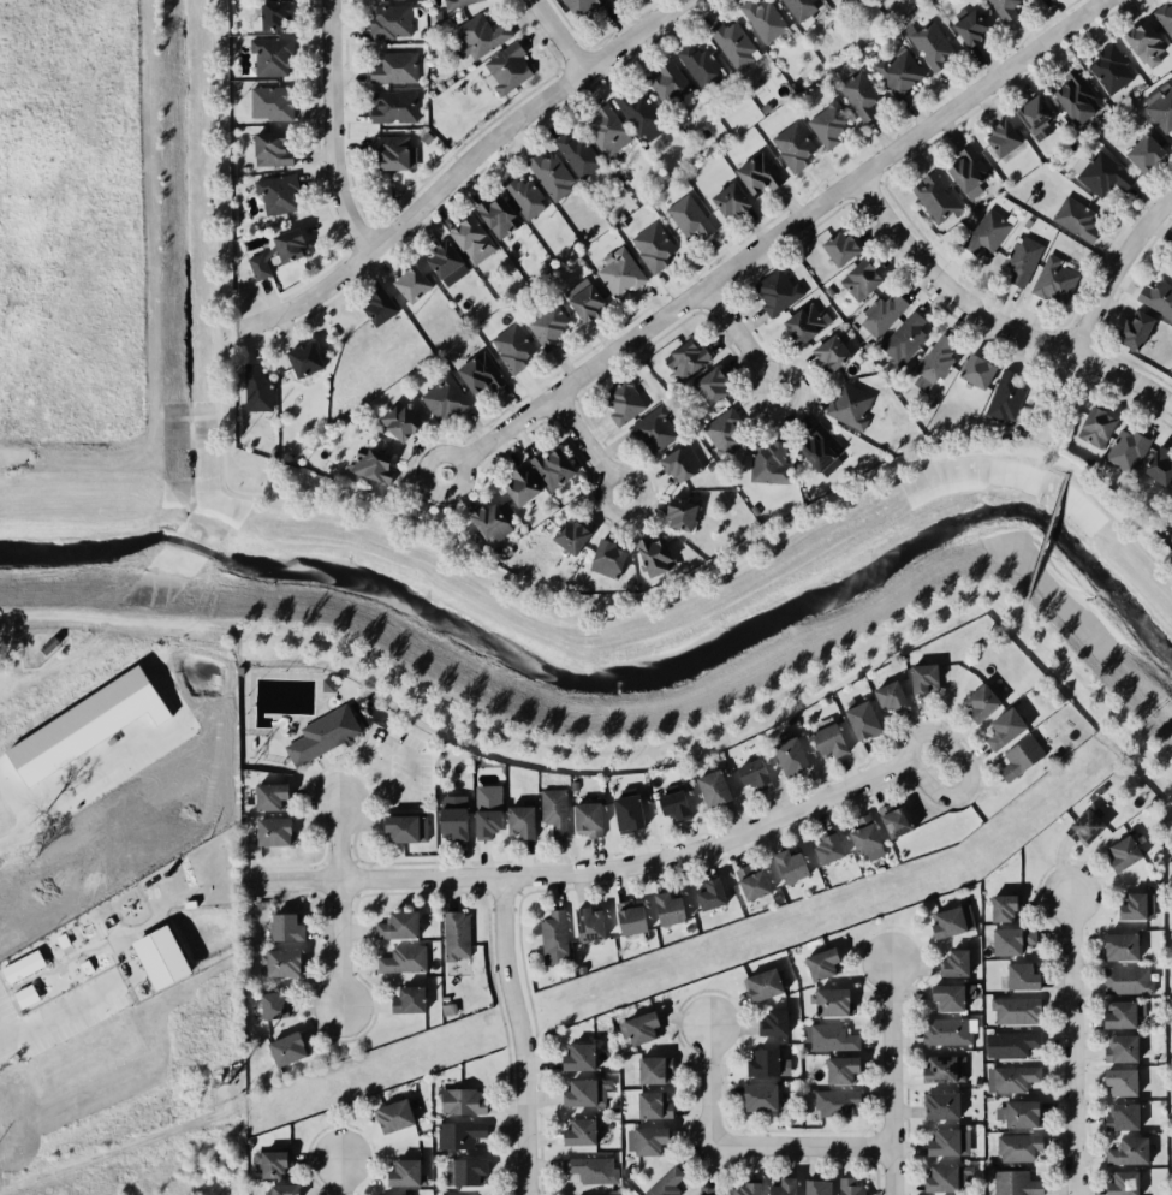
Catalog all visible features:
building: (1034, 0)
building: (457, 4)
building: (579, 6)
building: (801, 7)
building: (1001, 8)
building: (268, 13)
building: (1164, 18)
building: (762, 20)
building: (391, 23)
building: (965, 26)
building: (476, 35)
road: (561, 35)
building: (726, 40)
building: (1140, 41)
building: (928, 42)
building: (267, 57)
building: (696, 63)
building: (394, 67)
building: (505, 70)
building: (896, 71)
building: (1111, 71)
building: (665, 82)
building: (856, 94)
building: (1075, 97)
building: (267, 102)
building: (392, 109)
building: (1028, 111)
building: (1160, 111)
building: (635, 113)
building: (826, 124)
building: (602, 129)
road: (332, 130)
building: (1000, 137)
building: (793, 148)
building: (268, 149)
building: (385, 150)
building: (572, 151)
building: (1141, 154)
road: (458, 166)
building: (965, 168)
building: (755, 172)
road: (214, 173)
building: (549, 176)
building: (1103, 178)
building: (274, 195)
building: (523, 197)
building: (933, 197)
building: (725, 200)
building: (496, 215)
building: (1073, 218)
building: (685, 221)
building: (984, 233)
road: (771, 236)
building: (468, 238)
building: (834, 245)
building: (652, 246)
building: (1170, 246)
building: (275, 251)
building: (440, 257)
building: (1019, 260)
road: (1117, 269)
building: (617, 273)
building: (856, 278)
building: (1053, 281)
building: (409, 284)
building: (773, 289)
building: (1155, 298)
building: (581, 299)
building: (376, 307)
building: (881, 311)
road: (994, 311)
building: (802, 322)
road: (733, 327)
building: (545, 328)
building: (1129, 329)
building: (906, 337)
road: (232, 343)
building: (508, 346)
building: (826, 355)
building: (299, 358)
building: (683, 358)
building: (935, 363)
building: (971, 370)
building: (477, 373)
road: (755, 382)
building: (708, 386)
building: (255, 387)
building: (1005, 392)
road: (1063, 393)
building: (442, 400)
building: (618, 403)
building: (849, 406)
building: (392, 422)
building: (1088, 429)
building: (652, 432)
building: (725, 432)
road: (582, 434)
building: (816, 446)
building: (1124, 451)
building: (763, 462)
building: (677, 463)
building: (369, 465)
building: (551, 465)
building: (1159, 468)
road: (1052, 469)
building: (514, 487)
building: (1171, 504)
road: (611, 507)
building: (674, 515)
building: (483, 517)
building: (563, 530)
road: (1043, 535)
building: (653, 553)
building: (603, 558)
road: (655, 597)
road: (1019, 610)
road: (12, 637)
building: (43, 643)
building: (924, 679)
building: (326, 684)
river: (631, 688)
building: (891, 695)
building: (826, 698)
road: (399, 701)
building: (981, 702)
road: (383, 709)
road: (738, 713)
building: (790, 719)
building: (863, 720)
road: (387, 721)
road: (376, 725)
building: (1005, 727)
building: (320, 732)
road: (364, 732)
park: (332, 733)
building: (829, 739)
road: (361, 744)
road: (351, 745)
road: (357, 748)
road: (399, 748)
building: (789, 751)
road: (380, 755)
building: (1017, 756)
road: (359, 757)
road: (323, 759)
road: (340, 760)
road: (963, 760)
parking lot: (397, 767)
road: (328, 768)
road: (314, 772)
road: (410, 772)
building: (754, 772)
road: (361, 774)
building: (572, 785)
road: (398, 789)
building: (712, 789)
road: (343, 790)
road: (373, 791)
building: (267, 793)
road: (347, 798)
building: (673, 802)
building: (551, 809)
building: (489, 810)
building: (627, 811)
building: (448, 816)
building: (588, 819)
building: (519, 820)
building: (896, 820)
building: (403, 826)
building: (1085, 828)
building: (269, 831)
building: (864, 833)
road: (335, 842)
building: (827, 845)
building: (1123, 852)
building: (790, 864)
road: (584, 872)
building: (751, 881)
building: (708, 894)
building: (1004, 906)
building: (1137, 906)
building: (668, 908)
building: (625, 917)
building: (588, 922)
building: (952, 922)
building: (395, 925)
building: (281, 926)
building: (686, 927)
building: (453, 932)
building: (553, 937)
building: (1011, 940)
road: (338, 945)
building: (1118, 946)
building: (161, 957)
building: (403, 959)
building: (282, 962)
building: (953, 963)
building: (819, 964)
building: (23, 967)
building: (561, 976)
building: (1022, 976)
building: (1125, 981)
building: (760, 983)
building: (26, 995)
building: (951, 995)
building: (407, 999)
building: (828, 1001)
building: (274, 1005)
building: (1015, 1010)
road: (59, 1015)
building: (1120, 1015)
building: (768, 1022)
building: (638, 1025)
building: (946, 1031)
road: (517, 1035)
building: (831, 1036)
building: (1013, 1042)
road: (1072, 1045)
building: (288, 1048)
building: (1122, 1048)
building: (575, 1054)
building: (757, 1060)
building: (649, 1068)
building: (837, 1069)
building: (944, 1069)
building: (215, 1077)
building: (1009, 1077)
road: (890, 1078)
building: (1120, 1082)
building: (575, 1090)
building: (754, 1095)
building: (460, 1101)
building: (650, 1105)
building: (834, 1106)
building: (941, 1106)
building: (1022, 1112)
building: (394, 1116)
building: (1124, 1117)
building: (607, 1123)
building: (575, 1131)
building: (458, 1134)
building: (646, 1140)
building: (246, 1142)
building: (944, 1142)
road: (738, 1147)
building: (1017, 1147)
building: (1129, 1151)
building: (273, 1163)
building: (588, 1167)
building: (464, 1171)
building: (405, 1172)
road: (339, 1177)
building: (947, 1177)
building: (664, 1182)
building: (1015, 1183)
building: (1124, 1183)
building: (850, 1185)
building: (775, 1187)
building: (813, 1187)
building: (740, 1188)
building: (281, 1189)
building: (709, 1191)
building: (380, 1194)
building: (694, 1194)

